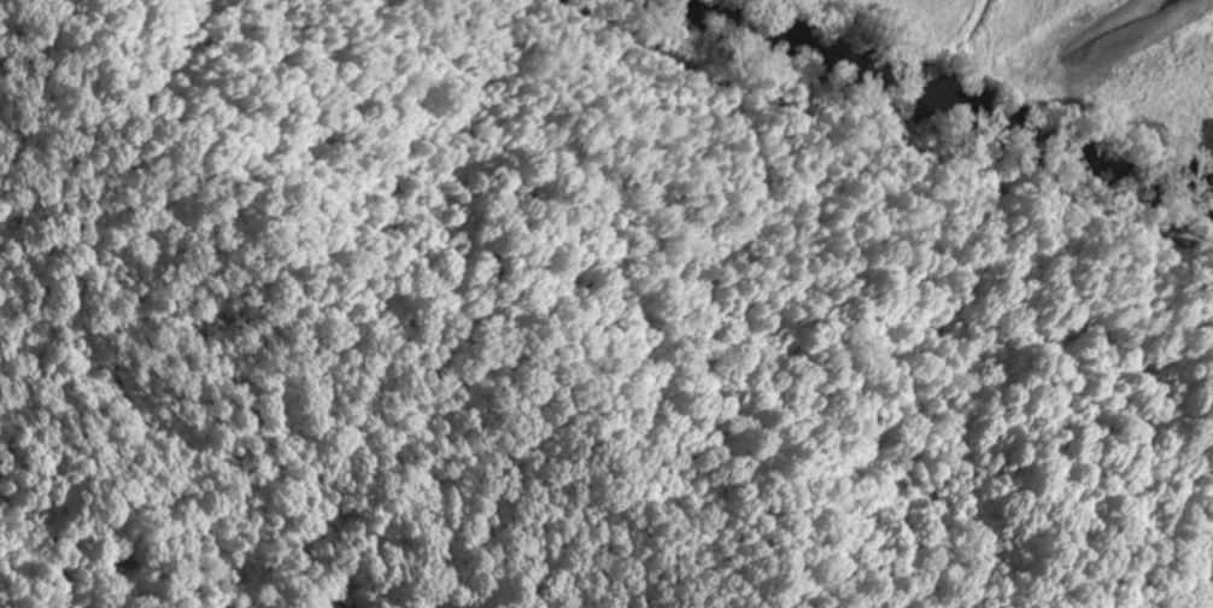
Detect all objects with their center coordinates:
road: (658, 49)
river: (959, 103)

